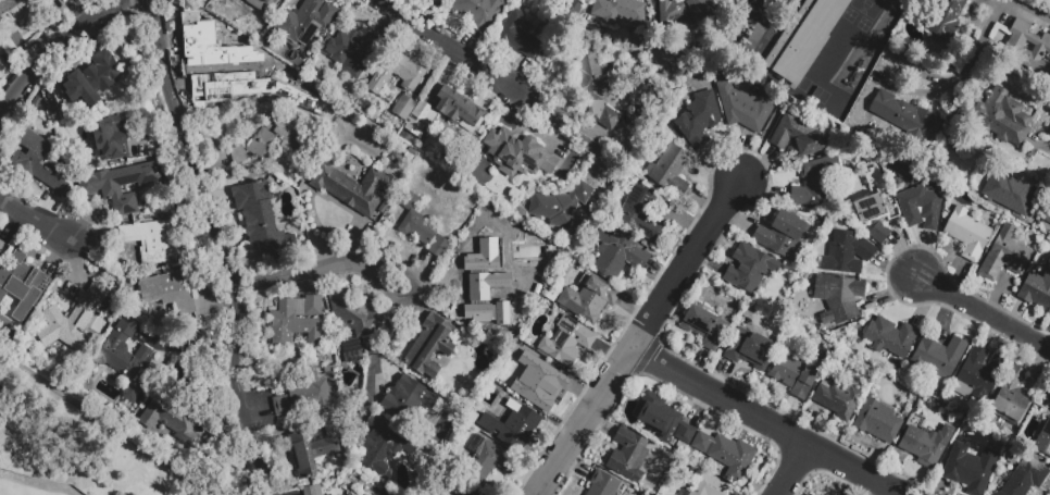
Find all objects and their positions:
park: (884, 0)
road: (1005, 0)
building: (255, 1)
building: (226, 7)
park: (866, 7)
building: (478, 12)
building: (680, 12)
building: (620, 13)
building: (15, 15)
building: (947, 21)
building: (307, 23)
building: (517, 38)
building: (802, 38)
road: (59, 45)
road: (449, 50)
building: (1014, 52)
building: (352, 53)
building: (1049, 59)
building: (213, 61)
building: (398, 76)
building: (91, 82)
building: (289, 87)
building: (596, 90)
park: (812, 90)
building: (452, 110)
building: (743, 110)
building: (403, 111)
building: (996, 114)
building: (903, 119)
building: (629, 121)
building: (700, 121)
road: (570, 133)
building: (798, 139)
building: (111, 140)
building: (295, 140)
road: (760, 143)
building: (1033, 153)
building: (518, 154)
building: (238, 158)
building: (39, 165)
building: (668, 170)
building: (815, 185)
building: (121, 186)
building: (352, 190)
building: (512, 195)
building: (1013, 195)
building: (872, 199)
building: (525, 200)
building: (561, 207)
building: (921, 210)
building: (522, 212)
road: (211, 213)
building: (641, 216)
building: (1047, 218)
building: (260, 219)
road: (34, 221)
building: (422, 231)
building: (879, 235)
building: (968, 236)
building: (784, 237)
building: (148, 239)
building: (0, 240)
building: (2, 247)
building: (1004, 255)
building: (617, 256)
building: (848, 256)
building: (460, 261)
road: (684, 267)
road: (325, 271)
building: (750, 271)
building: (530, 287)
building: (485, 289)
building: (23, 293)
building: (1037, 293)
building: (171, 294)
building: (552, 295)
building: (589, 300)
building: (839, 300)
building: (355, 315)
road: (983, 315)
building: (74, 320)
building: (297, 324)
building: (705, 329)
road: (384, 336)
building: (891, 339)
building: (567, 344)
building: (430, 348)
building: (751, 351)
building: (353, 352)
building: (939, 359)
building: (127, 360)
building: (486, 360)
building: (332, 369)
building: (796, 374)
building: (978, 378)
building: (542, 386)
building: (838, 399)
building: (1049, 400)
building: (1012, 401)
building: (305, 403)
building: (409, 403)
building: (1049, 406)
building: (172, 419)
road: (582, 422)
building: (664, 422)
road: (766, 422)
building: (878, 423)
building: (512, 429)
building: (334, 430)
road: (97, 433)
building: (1043, 443)
building: (927, 444)
building: (386, 448)
building: (310, 455)
building: (727, 456)
building: (628, 457)
road: (257, 462)
building: (486, 463)
road: (790, 469)
building: (971, 470)
building: (445, 478)
building: (1026, 479)
building: (603, 484)
park: (30, 486)
building: (709, 486)
building: (313, 492)
building: (350, 493)
building: (457, 493)
building: (809, 494)

